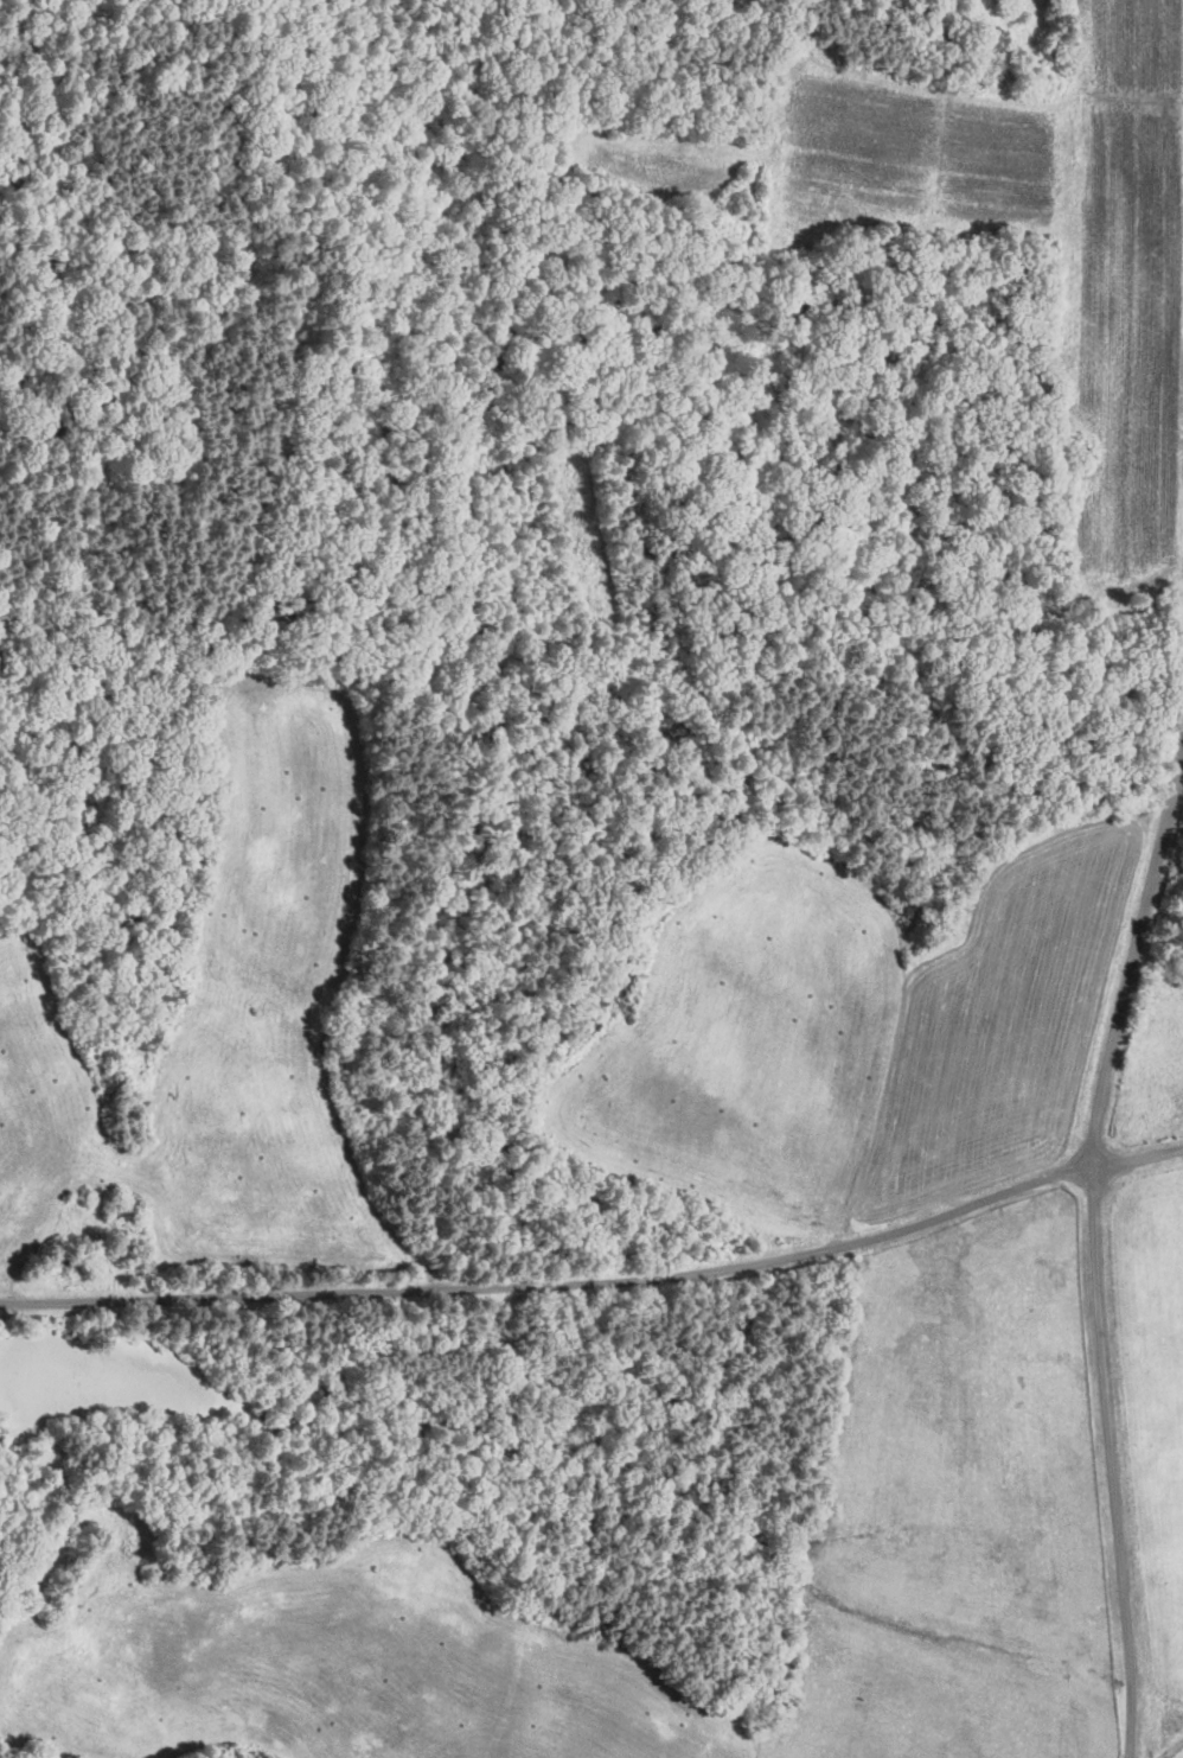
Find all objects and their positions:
road: (1096, 1242)
road: (599, 1275)

